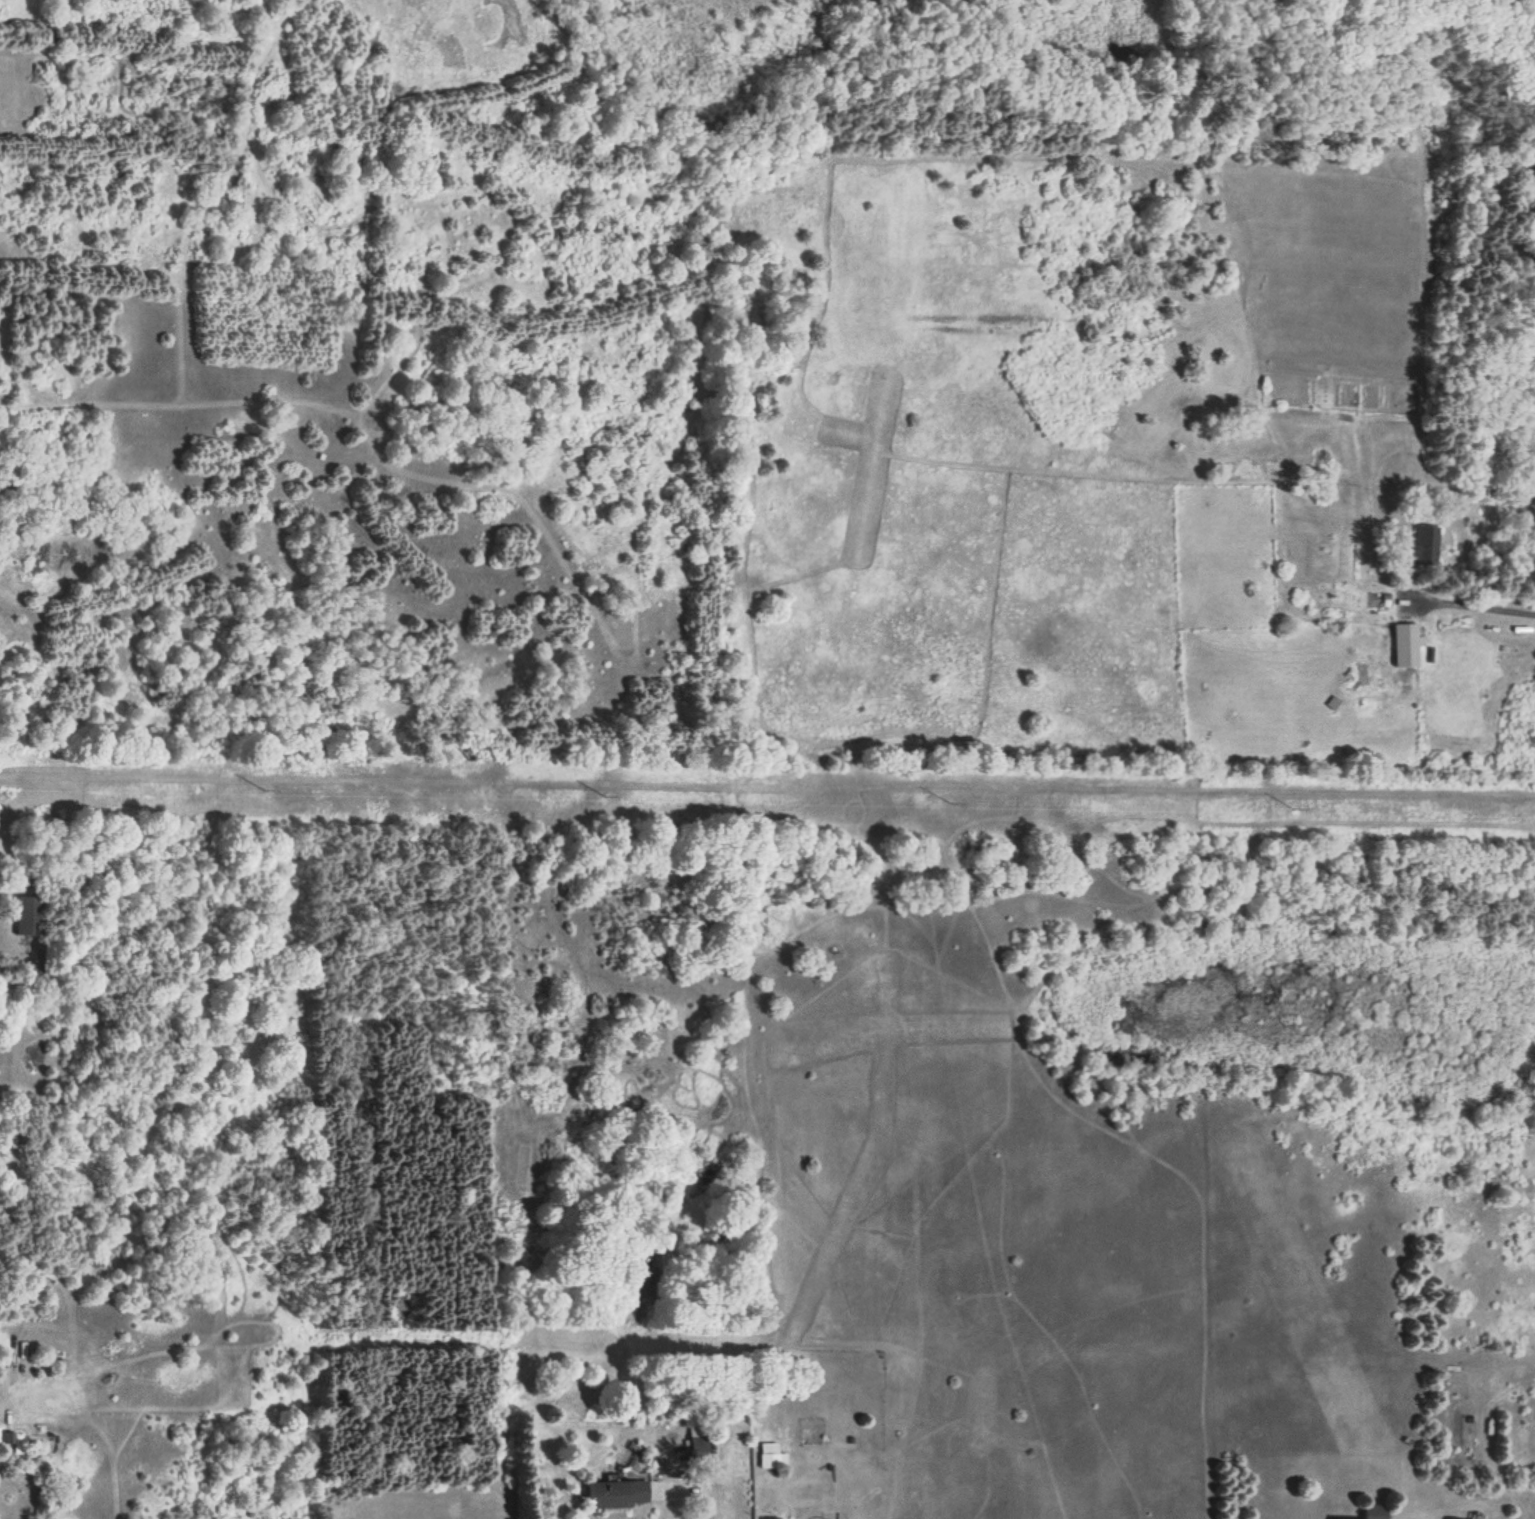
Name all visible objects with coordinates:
building: (1422, 546)
building: (1404, 645)
building: (27, 914)
building: (8, 1437)
building: (697, 1448)
building: (615, 1494)
building: (1374, 1511)
building: (769, 1518)

